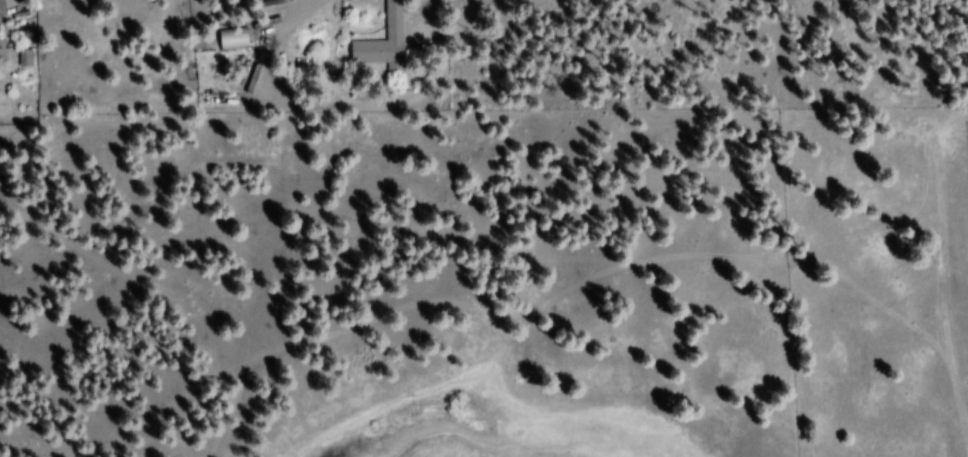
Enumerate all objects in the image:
building: (234, 40)

